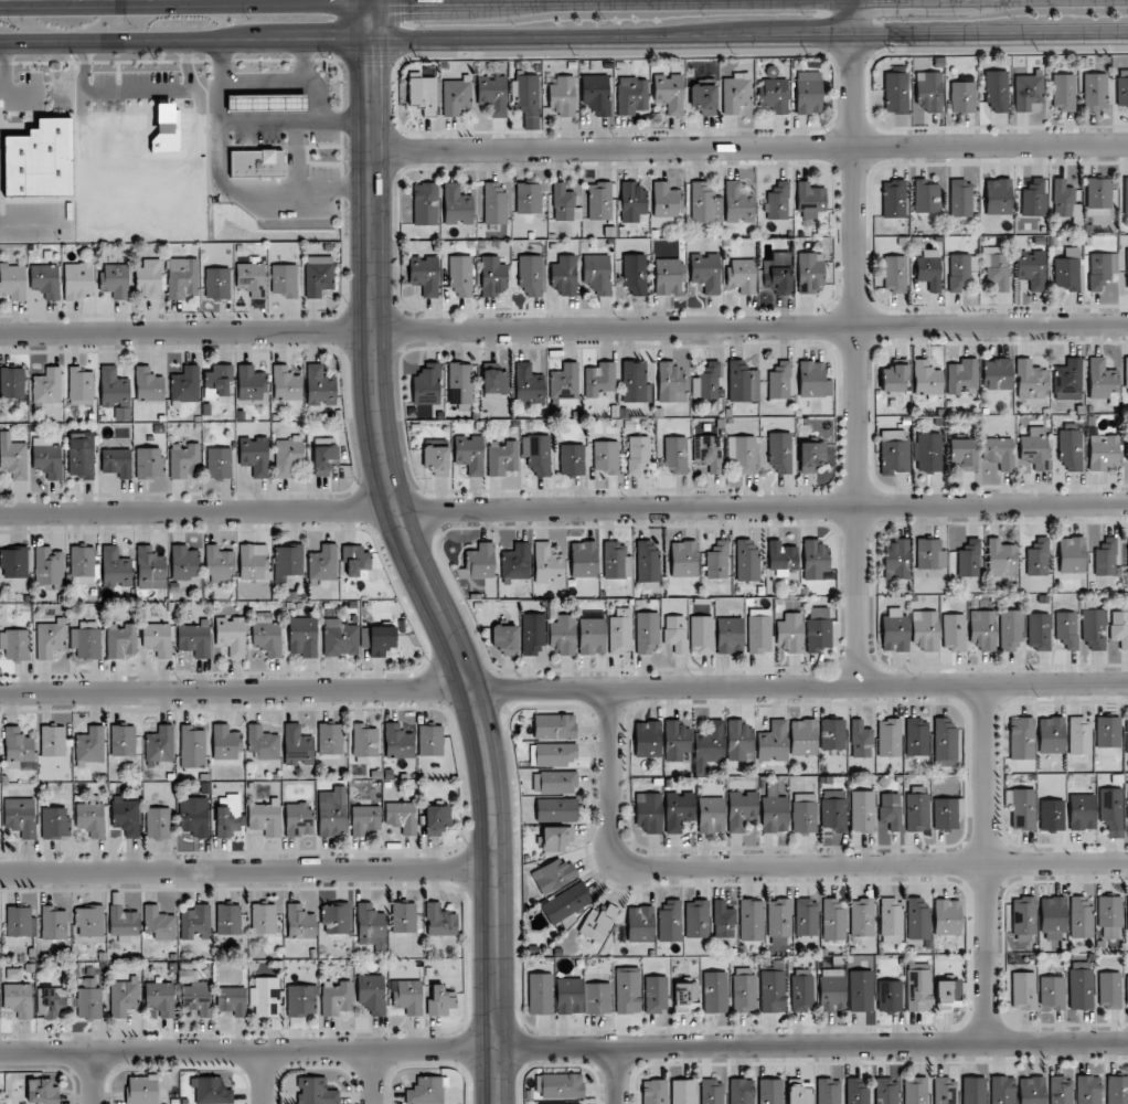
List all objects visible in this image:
road: (370, 1)
road: (490, 1)
traffic signals: (371, 2)
road: (185, 3)
road: (849, 18)
road: (563, 38)
traffic signals: (371, 40)
road: (3, 59)
building: (1122, 87)
building: (997, 89)
road: (849, 91)
building: (423, 92)
building: (928, 92)
building: (1028, 92)
building: (1063, 92)
building: (1095, 92)
building: (596, 93)
building: (669, 93)
building: (736, 93)
building: (808, 93)
building: (896, 93)
building: (493, 94)
building: (631, 95)
building: (774, 95)
building: (563, 96)
building: (457, 97)
building: (703, 97)
building: (962, 97)
building: (528, 98)
building: (264, 104)
building: (167, 128)
road: (748, 148)
building: (39, 160)
building: (254, 163)
building: (1099, 193)
building: (1126, 195)
building: (926, 197)
building: (998, 197)
building: (960, 198)
building: (1033, 198)
building: (893, 199)
building: (666, 200)
building: (810, 200)
building: (599, 201)
building: (631, 201)
building: (1064, 201)
building: (777, 202)
building: (738, 203)
building: (425, 204)
building: (494, 204)
building: (564, 204)
building: (704, 204)
building: (457, 205)
road: (22, 221)
building: (996, 266)
building: (1127, 266)
building: (929, 268)
building: (1031, 268)
building: (1067, 269)
building: (1098, 270)
building: (705, 272)
building: (960, 272)
building: (810, 273)
building: (425, 274)
building: (635, 274)
building: (777, 274)
building: (318, 275)
building: (461, 275)
building: (530, 275)
building: (596, 275)
building: (742, 275)
building: (894, 275)
building: (492, 276)
building: (564, 276)
building: (669, 276)
building: (182, 277)
building: (252, 278)
building: (148, 279)
building: (284, 279)
building: (45, 280)
building: (78, 280)
building: (114, 280)
building: (13, 283)
building: (216, 283)
road: (564, 329)
building: (1126, 372)
building: (997, 374)
building: (962, 376)
building: (1029, 378)
building: (894, 379)
building: (927, 379)
building: (1100, 379)
building: (778, 380)
building: (812, 380)
building: (1067, 380)
building: (217, 381)
building: (599, 381)
building: (12, 382)
building: (565, 382)
building: (670, 382)
building: (706, 382)
building: (739, 382)
building: (460, 383)
building: (494, 383)
building: (529, 383)
building: (635, 383)
building: (185, 384)
building: (251, 384)
building: (286, 384)
building: (426, 384)
building: (47, 385)
building: (148, 385)
building: (81, 386)
building: (319, 386)
building: (114, 389)
road: (854, 416)
building: (1034, 448)
building: (1127, 449)
building: (1071, 450)
building: (779, 452)
building: (893, 452)
building: (928, 452)
building: (999, 452)
building: (469, 453)
building: (707, 453)
building: (742, 453)
building: (962, 453)
building: (1103, 453)
building: (536, 454)
building: (638, 454)
building: (81, 455)
building: (255, 455)
building: (674, 455)
building: (606, 456)
building: (811, 456)
building: (13, 457)
building: (287, 457)
building: (46, 458)
building: (324, 458)
building: (502, 458)
building: (436, 459)
building: (572, 459)
building: (184, 460)
building: (117, 461)
building: (148, 463)
building: (219, 463)
road: (564, 509)
road: (398, 530)
building: (929, 554)
building: (1072, 554)
building: (781, 556)
building: (1036, 556)
building: (1106, 558)
building: (583, 559)
building: (683, 559)
building: (719, 559)
building: (815, 559)
building: (895, 559)
building: (968, 559)
building: (1001, 559)
building: (354, 560)
building: (747, 560)
building: (288, 561)
building: (616, 561)
building: (14, 562)
building: (183, 562)
building: (254, 562)
building: (478, 562)
building: (517, 562)
building: (647, 562)
building: (322, 563)
building: (547, 564)
building: (84, 565)
building: (220, 565)
building: (47, 567)
building: (115, 567)
building: (150, 569)
building: (819, 628)
building: (1119, 628)
building: (925, 629)
building: (983, 629)
building: (1067, 629)
building: (1094, 629)
building: (759, 630)
building: (894, 630)
building: (1011, 630)
building: (619, 631)
building: (1039, 631)
building: (532, 633)
building: (647, 633)
building: (674, 633)
building: (954, 633)
building: (701, 634)
building: (789, 634)
building: (231, 635)
building: (266, 635)
building: (563, 635)
building: (730, 635)
building: (302, 636)
building: (590, 636)
building: (50, 638)
building: (157, 638)
building: (195, 638)
building: (340, 638)
building: (506, 638)
building: (381, 640)
building: (121, 641)
building: (86, 643)
building: (13, 645)
road: (563, 688)
building: (554, 726)
building: (1108, 732)
building: (1127, 733)
building: (832, 734)
building: (1051, 735)
building: (1079, 735)
building: (916, 736)
building: (802, 737)
building: (890, 737)
building: (1022, 737)
building: (330, 739)
building: (647, 739)
building: (123, 740)
building: (430, 740)
building: (860, 740)
building: (53, 741)
building: (364, 741)
building: (675, 741)
building: (225, 742)
building: (263, 742)
building: (397, 742)
building: (739, 742)
building: (773, 742)
building: (945, 743)
building: (89, 745)
building: (160, 745)
building: (297, 745)
building: (709, 746)
building: (18, 747)
building: (192, 747)
building: (556, 754)
road: (608, 775)
building: (555, 782)
building: (1127, 803)
building: (555, 808)
building: (741, 809)
building: (833, 809)
building: (916, 809)
building: (1023, 809)
building: (678, 810)
building: (891, 810)
building: (332, 811)
building: (649, 811)
building: (774, 811)
building: (862, 811)
building: (1082, 811)
building: (804, 813)
building: (947, 813)
building: (1111, 813)
building: (711, 815)
building: (1052, 815)
building: (20, 816)
building: (126, 816)
building: (194, 816)
building: (228, 816)
building: (265, 816)
building: (402, 816)
building: (91, 817)
building: (298, 819)
building: (364, 819)
building: (436, 819)
building: (54, 822)
building: (158, 822)
building: (557, 839)
road: (871, 861)
road: (982, 863)
road: (243, 871)
building: (553, 875)
building: (565, 903)
building: (1127, 912)
building: (947, 916)
building: (1053, 916)
building: (1081, 916)
building: (1109, 916)
building: (336, 917)
building: (404, 917)
building: (862, 917)
building: (1023, 917)
building: (264, 919)
building: (696, 919)
building: (723, 920)
building: (752, 920)
building: (807, 920)
building: (833, 920)
building: (917, 920)
building: (19, 921)
building: (89, 921)
building: (228, 921)
building: (439, 921)
building: (670, 921)
building: (892, 921)
building: (300, 922)
building: (778, 922)
building: (53, 923)
building: (123, 923)
building: (159, 923)
building: (195, 923)
building: (597, 923)
building: (640, 924)
building: (371, 926)
building: (627, 990)
building: (744, 990)
building: (831, 990)
building: (861, 990)
building: (918, 990)
building: (1023, 990)
building: (1109, 990)
building: (1127, 990)
building: (773, 991)
building: (714, 992)
building: (372, 994)
building: (540, 994)
building: (656, 994)
building: (801, 994)
building: (947, 994)
building: (1052, 994)
building: (407, 996)
building: (568, 996)
building: (684, 996)
building: (890, 996)
building: (124, 997)
building: (160, 998)
building: (336, 998)
building: (596, 998)
building: (18, 999)
building: (232, 1000)
building: (301, 1000)
building: (51, 1001)
building: (266, 1001)
building: (440, 1001)
building: (89, 1002)
road: (564, 1047)
road: (491, 1075)
road: (611, 1075)
road: (265, 1076)
road: (373, 1076)
road: (96, 1078)
building: (562, 1085)
building: (141, 1090)
building: (915, 1090)
building: (973, 1090)
building: (1002, 1090)
building: (1031, 1090)
building: (1061, 1090)
building: (1088, 1090)
building: (1117, 1090)
building: (42, 1091)
building: (211, 1091)
building: (425, 1091)
building: (683, 1091)
building: (711, 1091)
building: (741, 1091)
building: (770, 1091)
building: (828, 1091)
building: (856, 1091)
building: (886, 1091)
building: (945, 1091)
building: (316, 1092)
building: (655, 1092)
building: (799, 1092)
building: (557, 1103)

